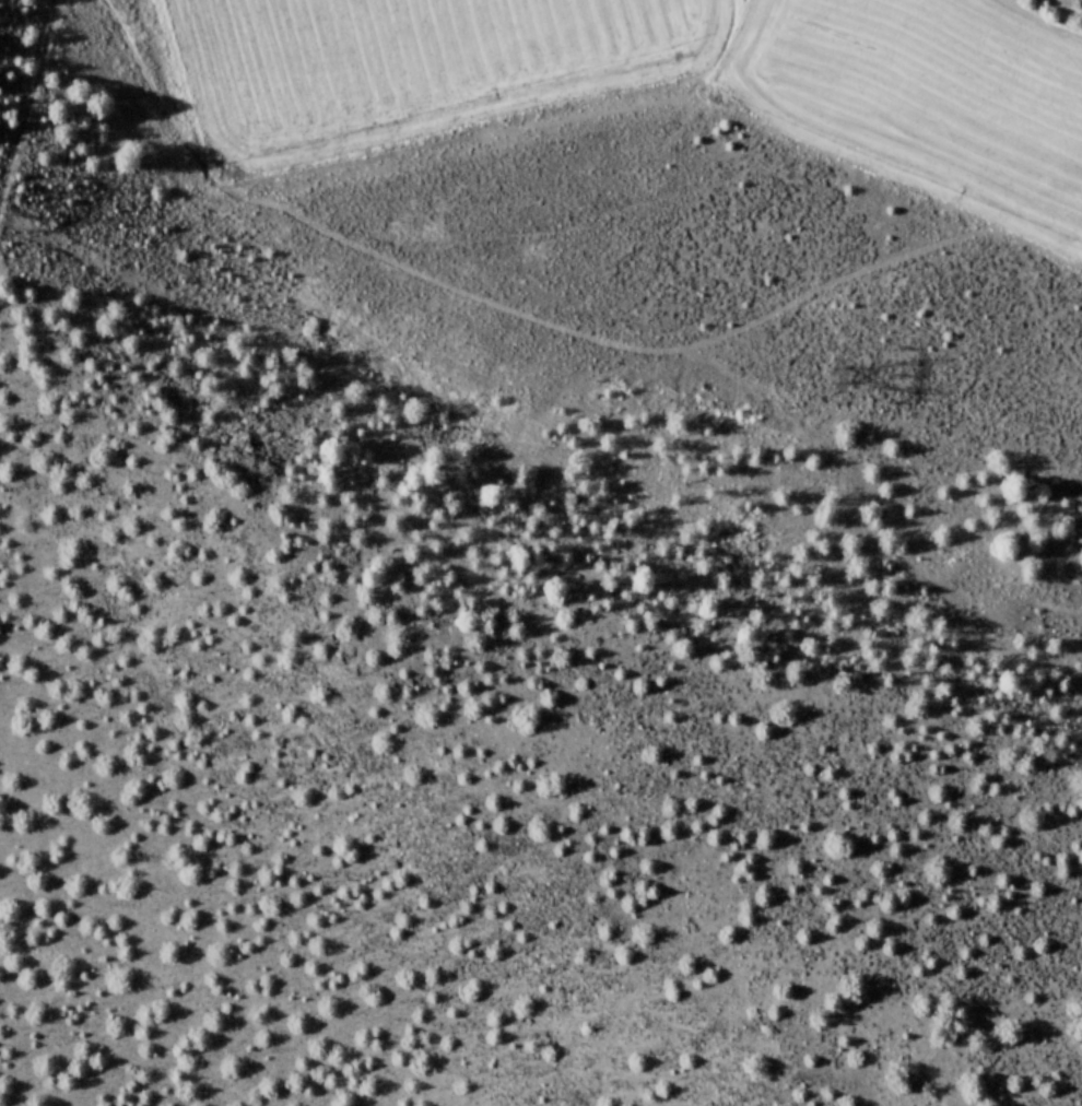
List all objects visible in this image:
road: (1037, 20)
power tower: (824, 361)

